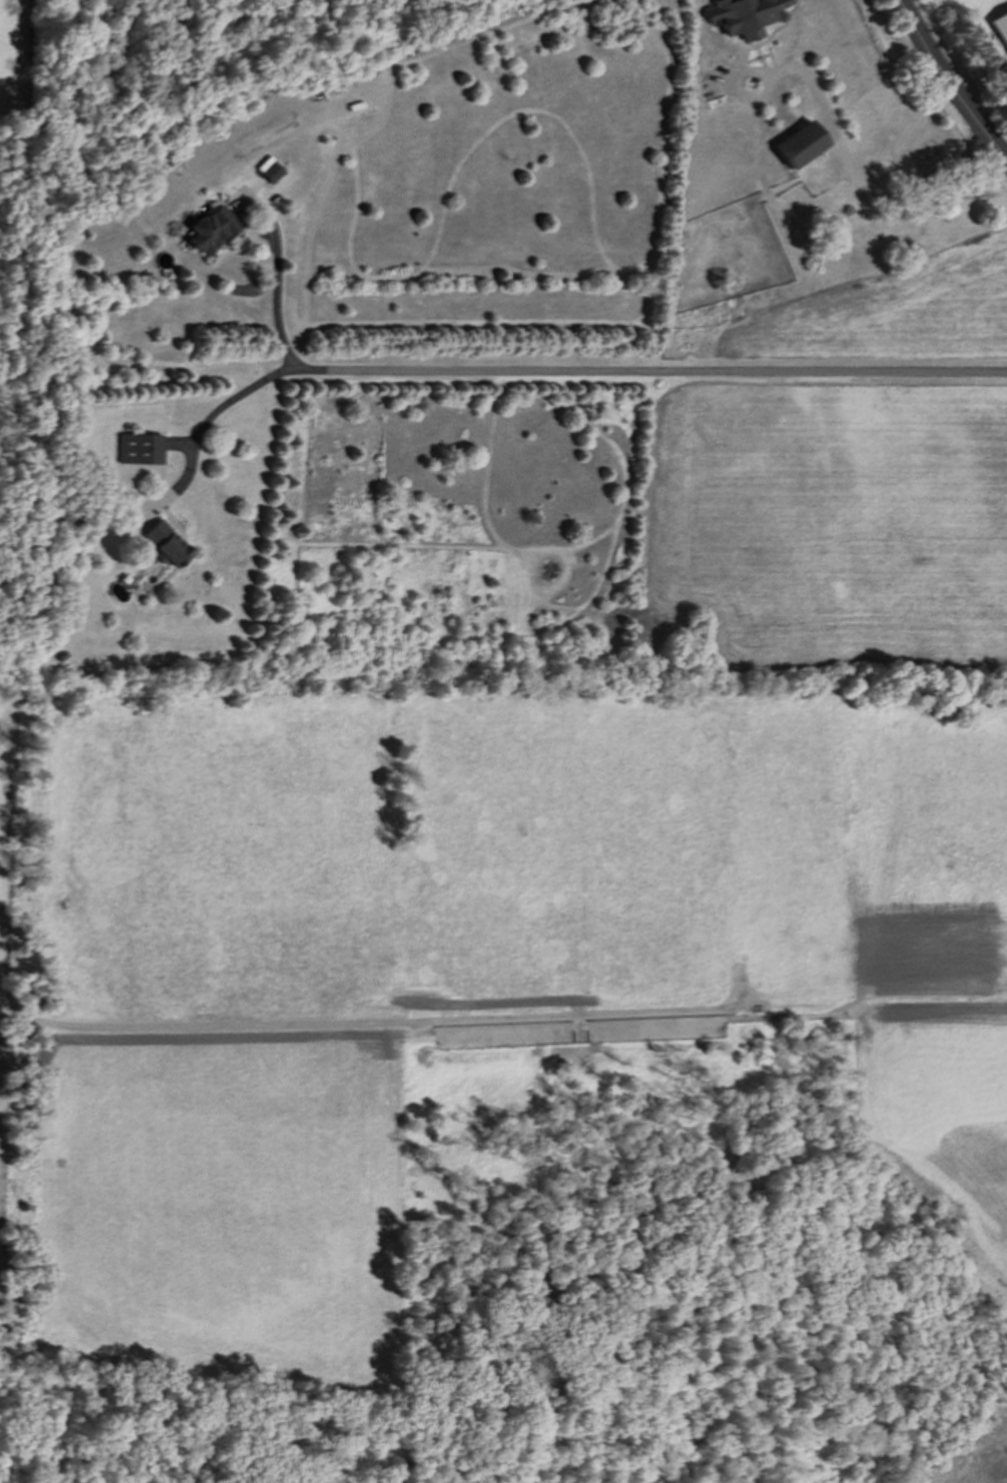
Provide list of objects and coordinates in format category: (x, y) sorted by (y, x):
road: (921, 9)
building: (744, 16)
building: (1000, 27)
crop: (18, 53)
road: (947, 85)
road: (835, 140)
building: (798, 144)
building: (270, 173)
building: (210, 229)
road: (275, 289)
road: (660, 372)
road: (210, 416)
building: (141, 449)
building: (166, 544)

